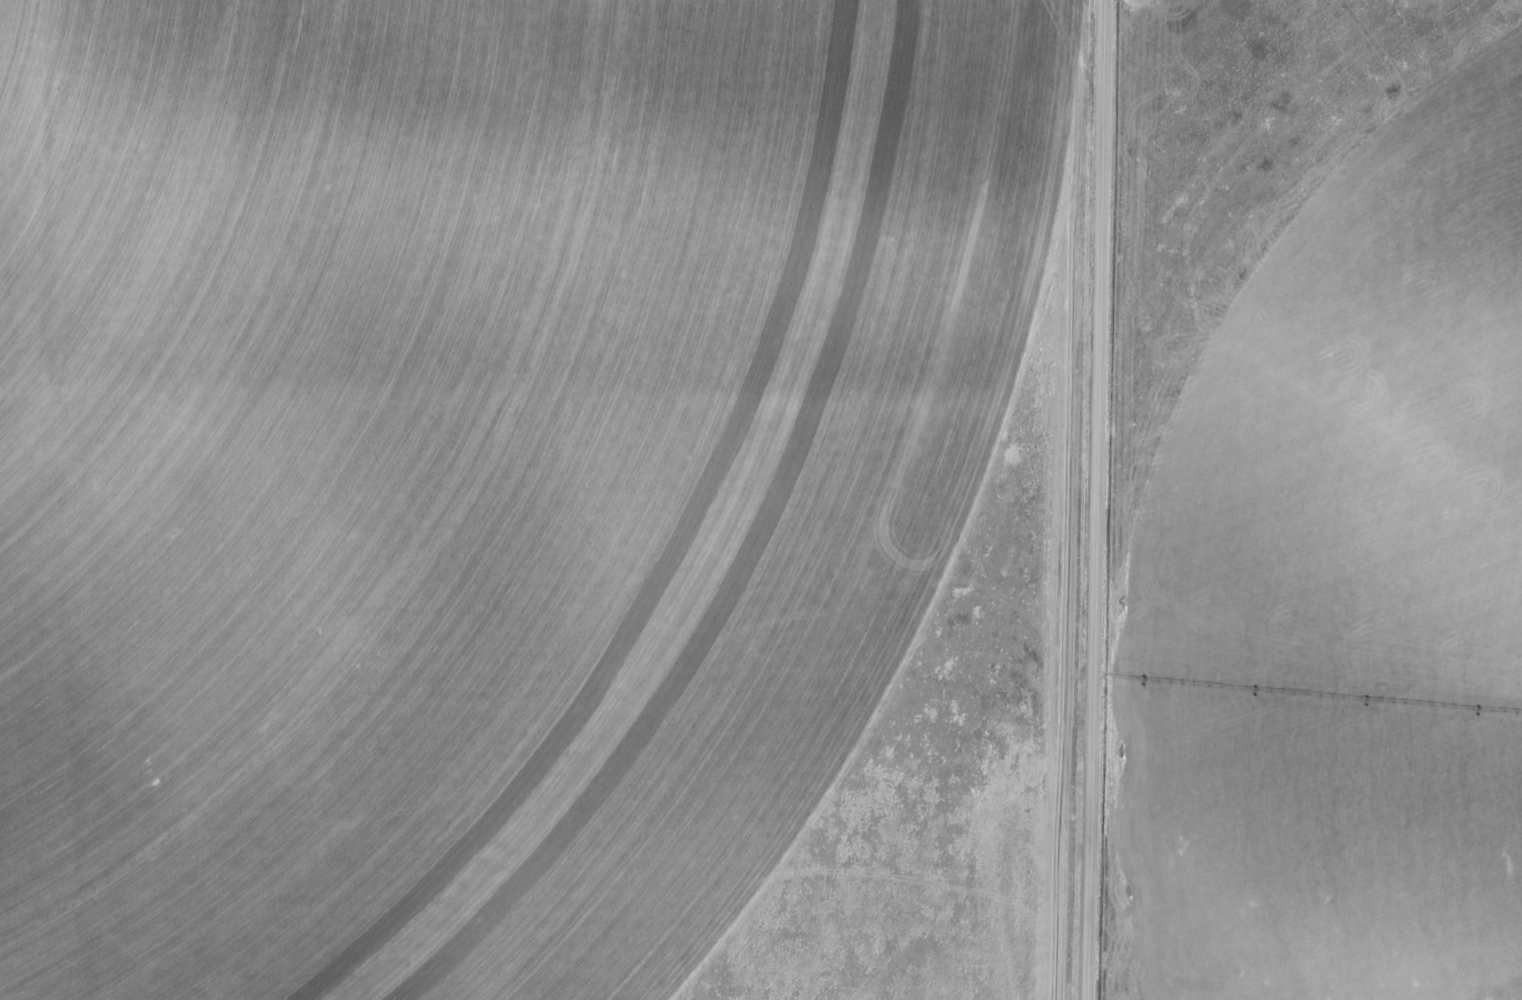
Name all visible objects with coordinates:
road: (1095, 500)

